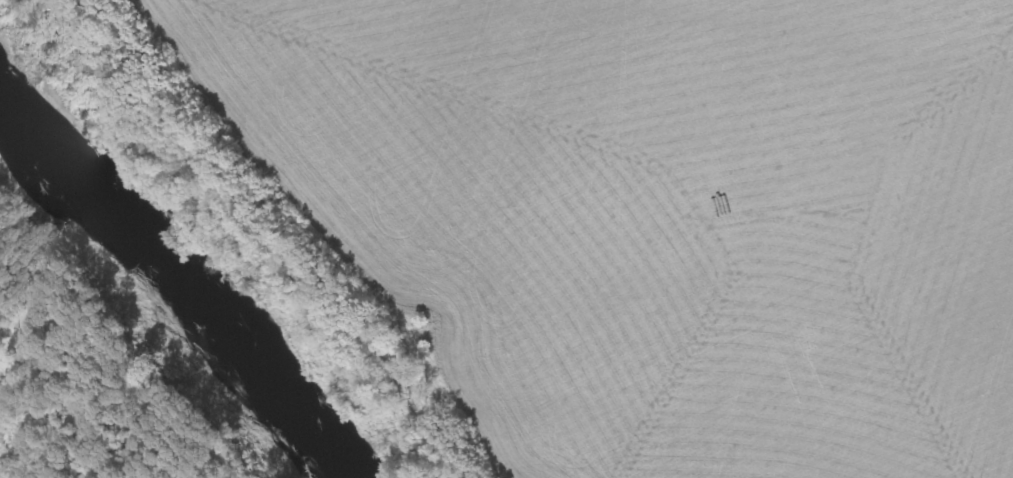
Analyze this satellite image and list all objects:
river: (170, 279)

